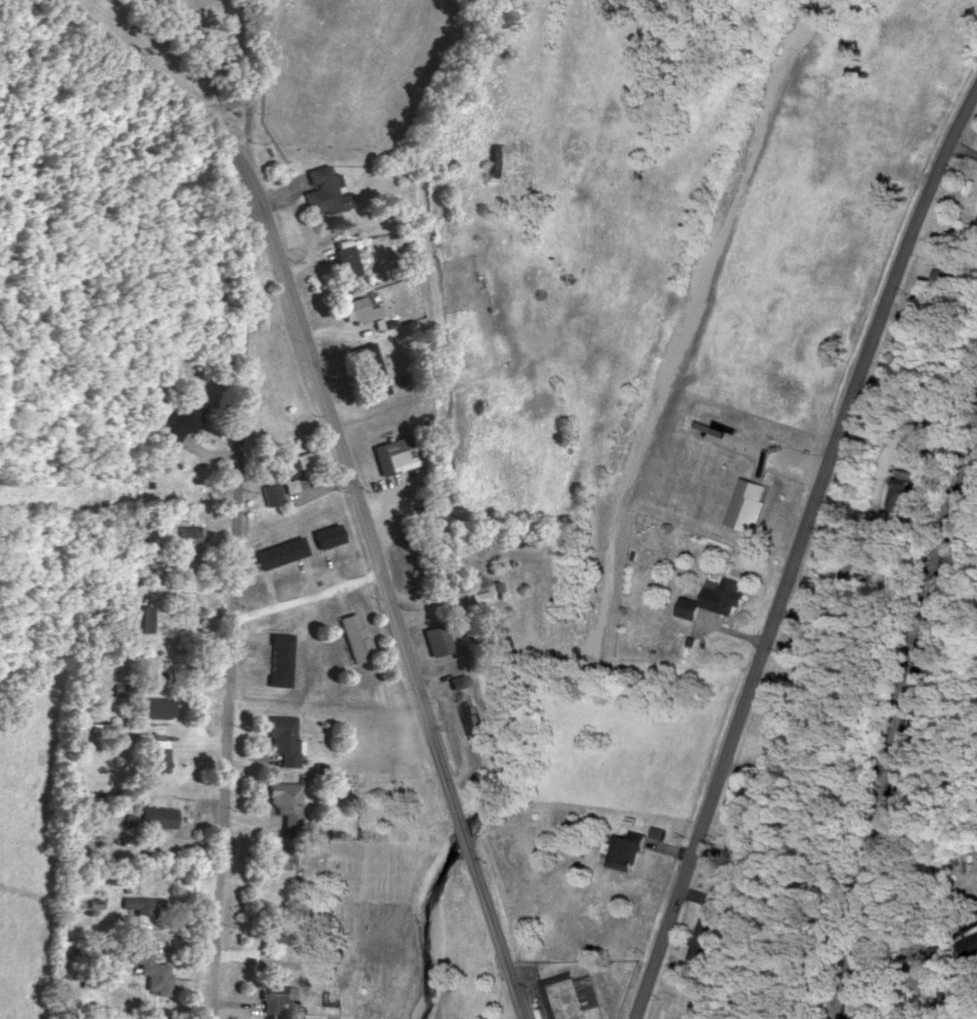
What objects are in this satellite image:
road: (241, 71)
road: (239, 125)
road: (123, 128)
building: (497, 158)
building: (324, 189)
building: (345, 255)
building: (945, 274)
building: (360, 306)
building: (909, 323)
building: (369, 368)
building: (185, 416)
building: (396, 452)
road: (347, 473)
building: (290, 484)
building: (903, 487)
building: (272, 492)
building: (748, 503)
building: (192, 532)
building: (328, 534)
road: (796, 548)
building: (280, 551)
building: (483, 590)
building: (714, 596)
road: (306, 598)
road: (234, 606)
building: (142, 617)
building: (355, 635)
building: (437, 638)
building: (281, 658)
building: (459, 679)
building: (126, 688)
building: (157, 706)
building: (474, 721)
building: (286, 738)
railway: (904, 743)
building: (79, 753)
building: (160, 754)
building: (772, 762)
building: (286, 800)
building: (159, 815)
building: (756, 815)
building: (657, 831)
building: (626, 849)
building: (285, 857)
building: (141, 902)
building: (277, 934)
building: (704, 935)
building: (320, 937)
building: (971, 945)
road: (932, 965)
building: (151, 968)
building: (276, 995)
building: (574, 996)

